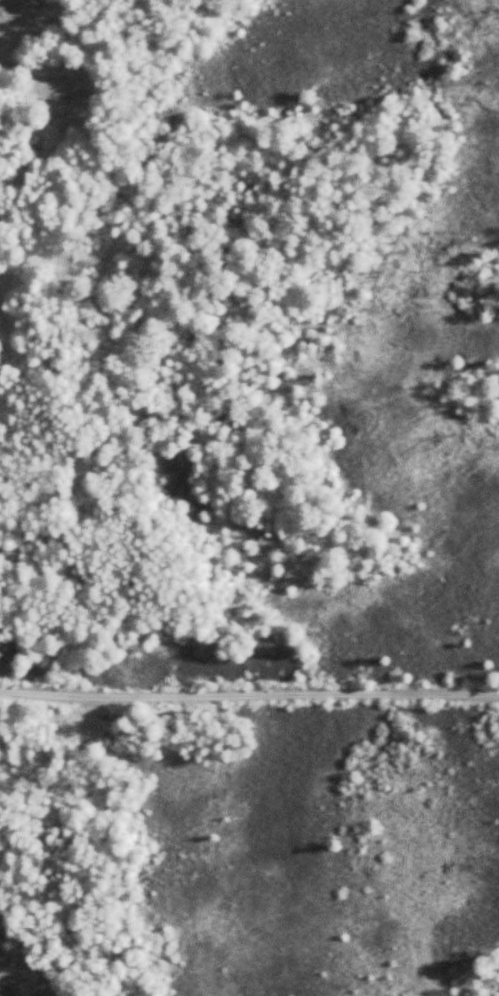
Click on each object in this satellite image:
road: (249, 686)

